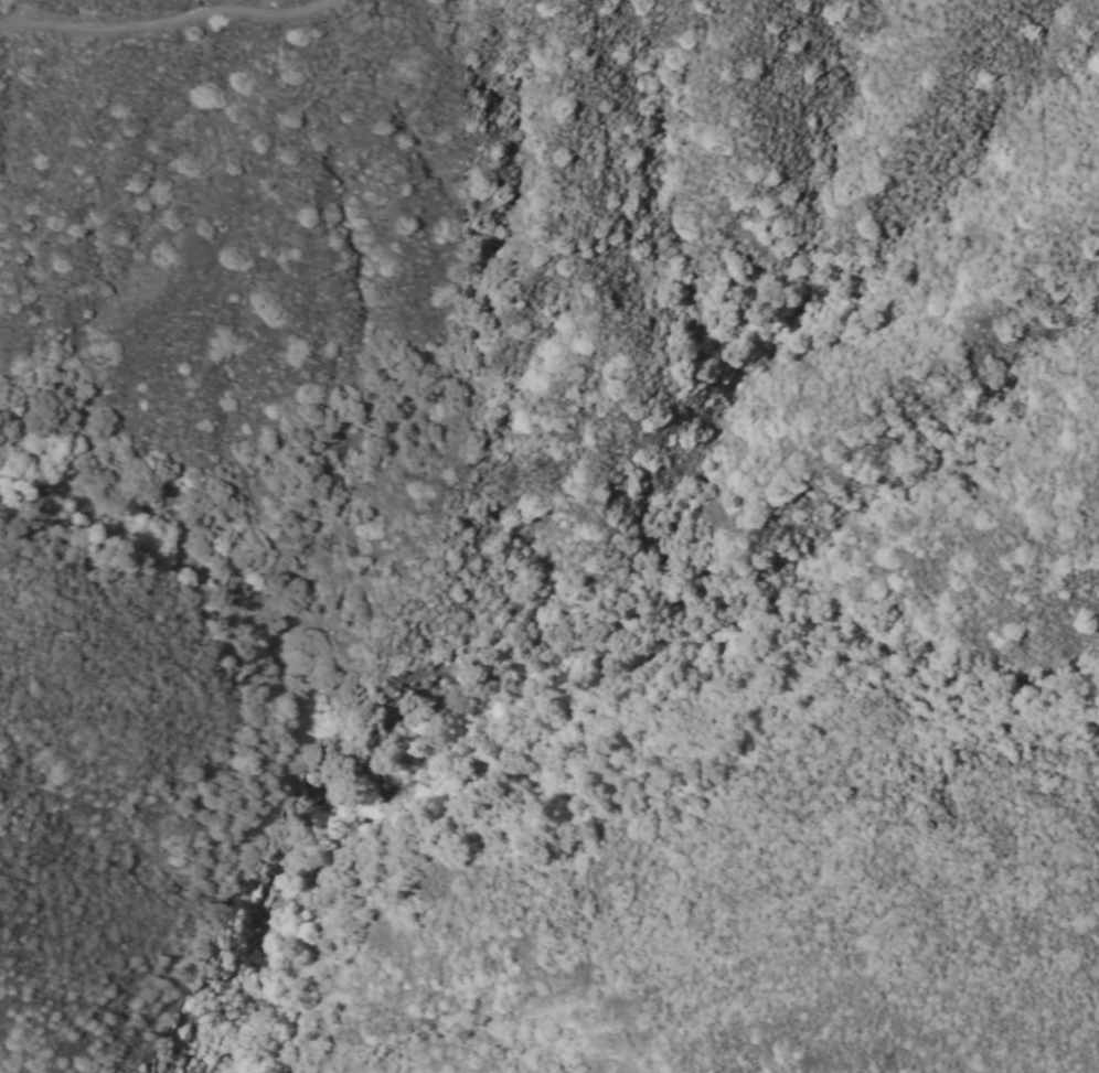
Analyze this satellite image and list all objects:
road: (161, 20)
road: (252, 958)

